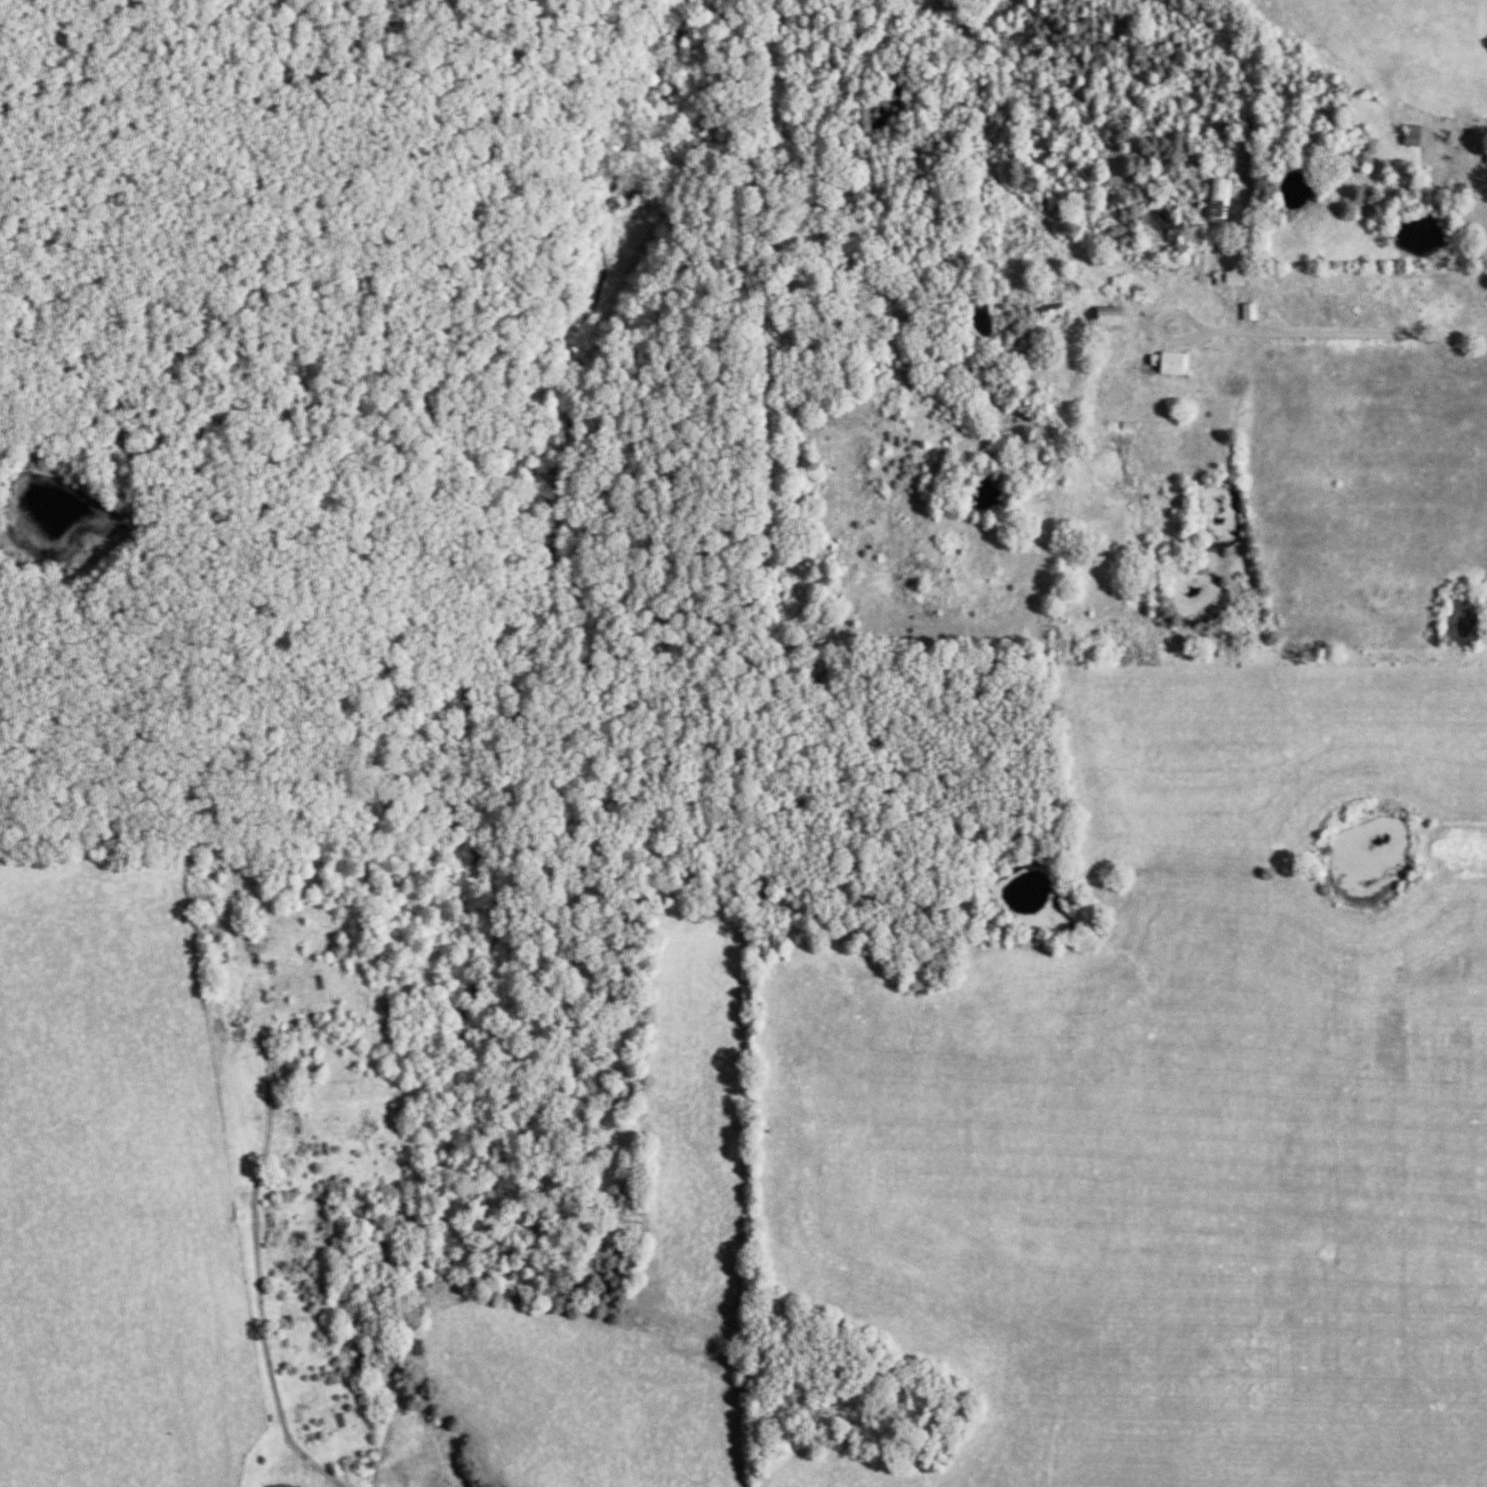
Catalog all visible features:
building: (1408, 136)
building: (1213, 200)
building: (1226, 279)
building: (1044, 307)
building: (1245, 313)
building: (1105, 317)
road: (1158, 324)
road: (1348, 331)
building: (1165, 365)

